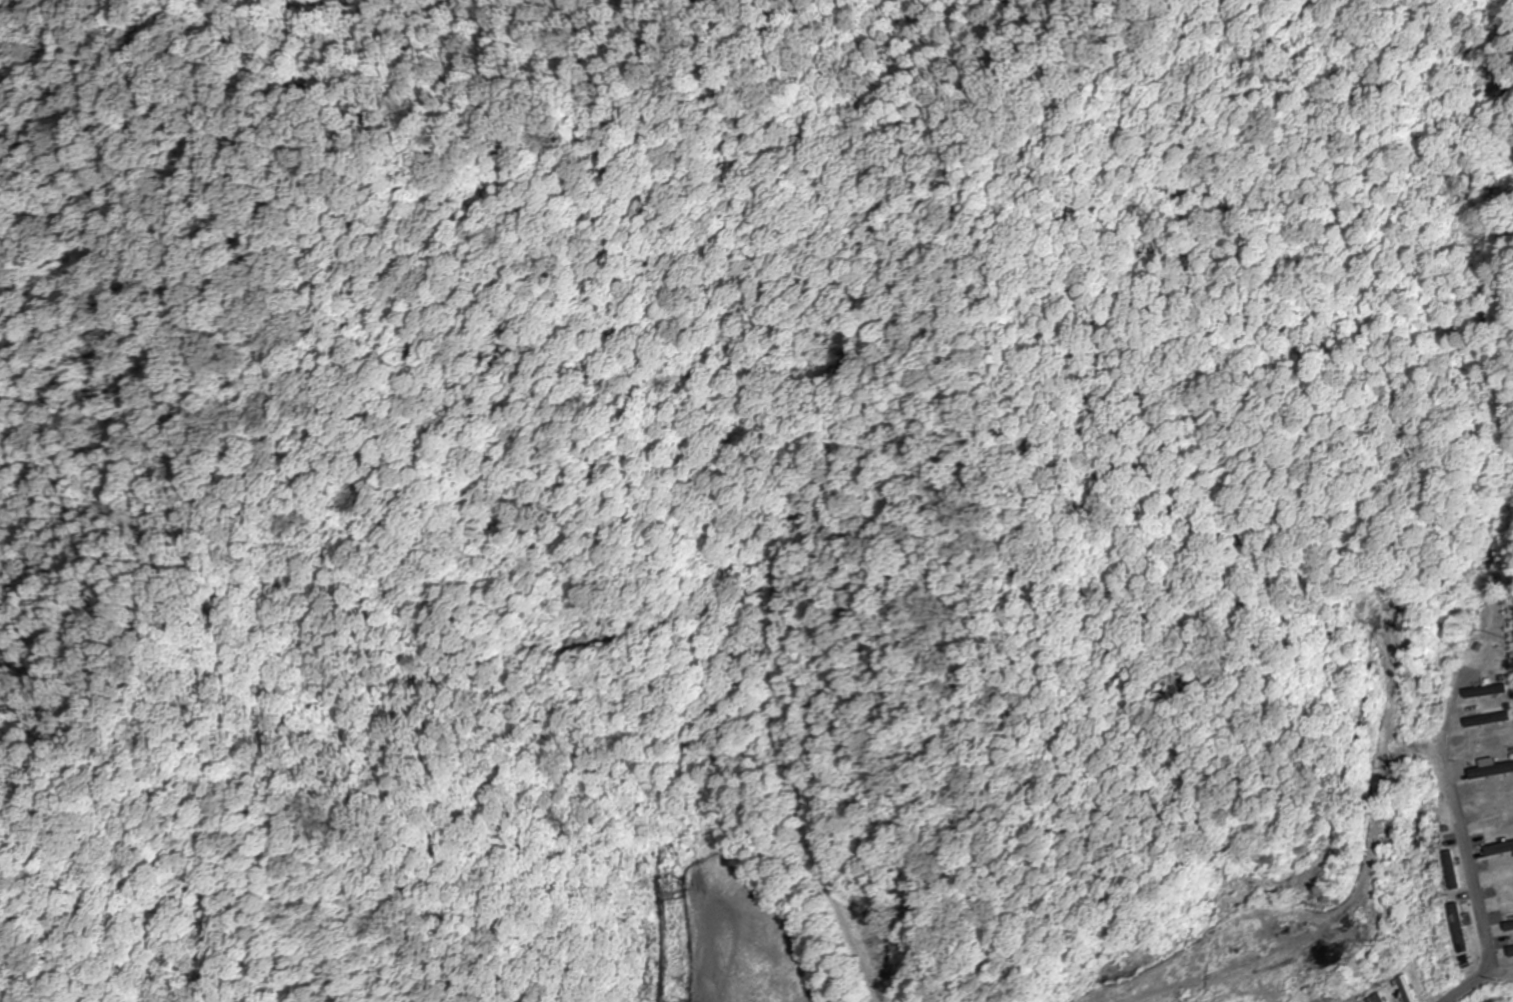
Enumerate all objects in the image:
building: (1483, 691)
building: (1488, 721)
building: (1491, 771)
road: (1465, 862)
building: (1452, 870)
building: (1510, 951)
building: (1403, 988)
building: (1371, 998)

